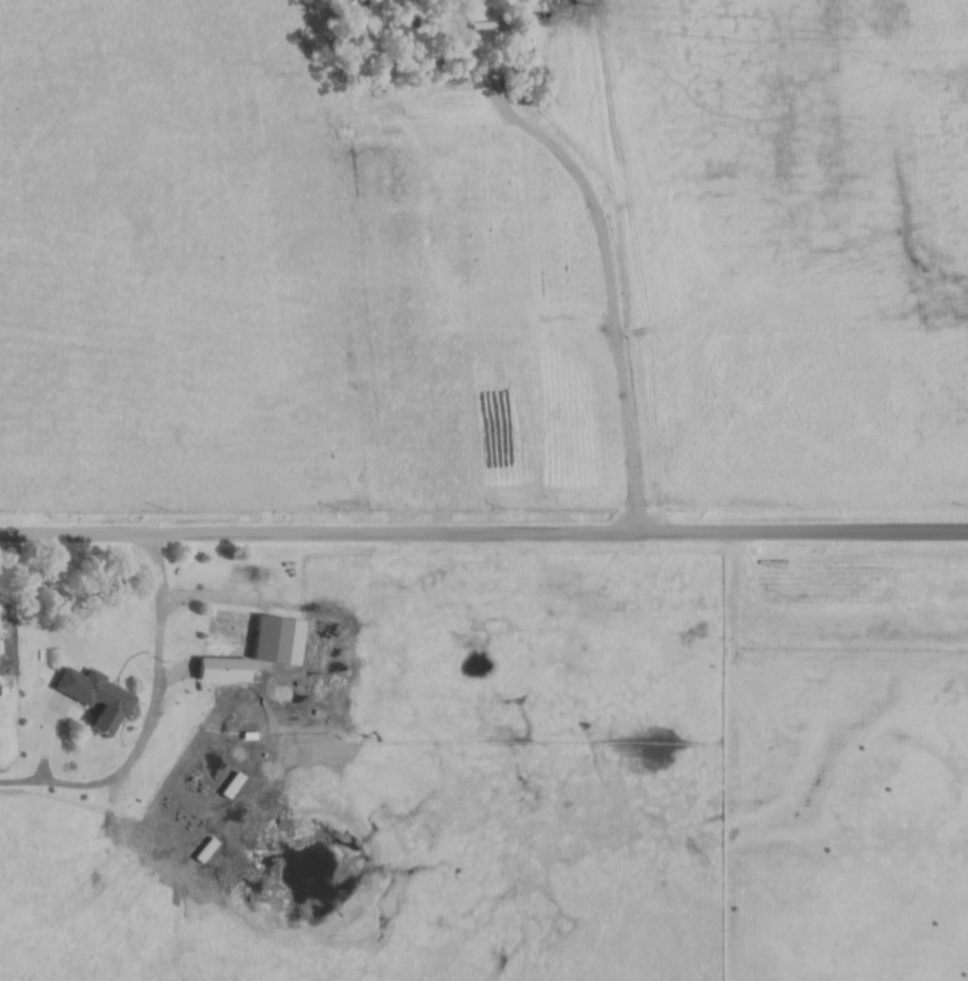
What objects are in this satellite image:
building: (366, 3)
building: (482, 26)
building: (396, 38)
road: (600, 250)
road: (484, 543)
building: (268, 641)
building: (235, 696)
building: (98, 703)
road: (153, 728)
building: (238, 798)
building: (203, 851)

